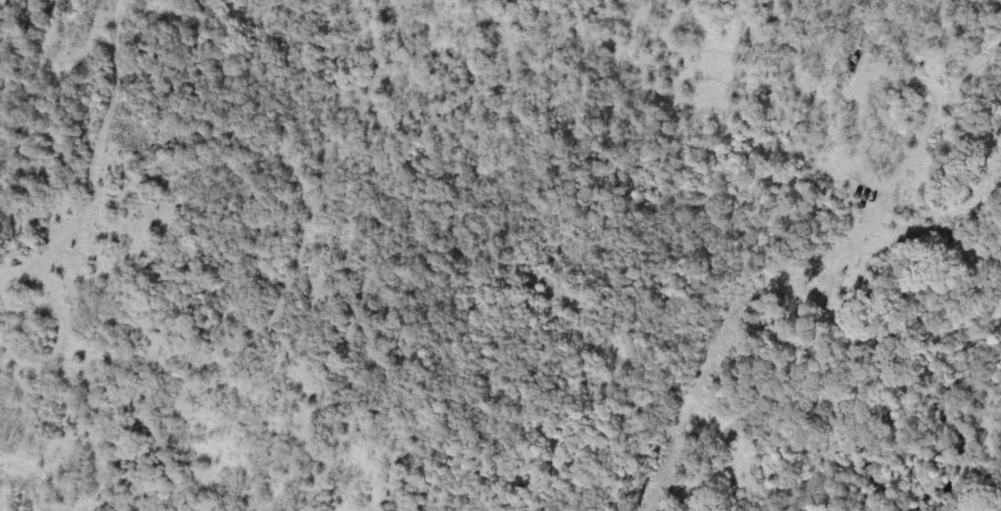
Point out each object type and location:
road: (96, 156)
road: (53, 361)
road: (20, 415)

